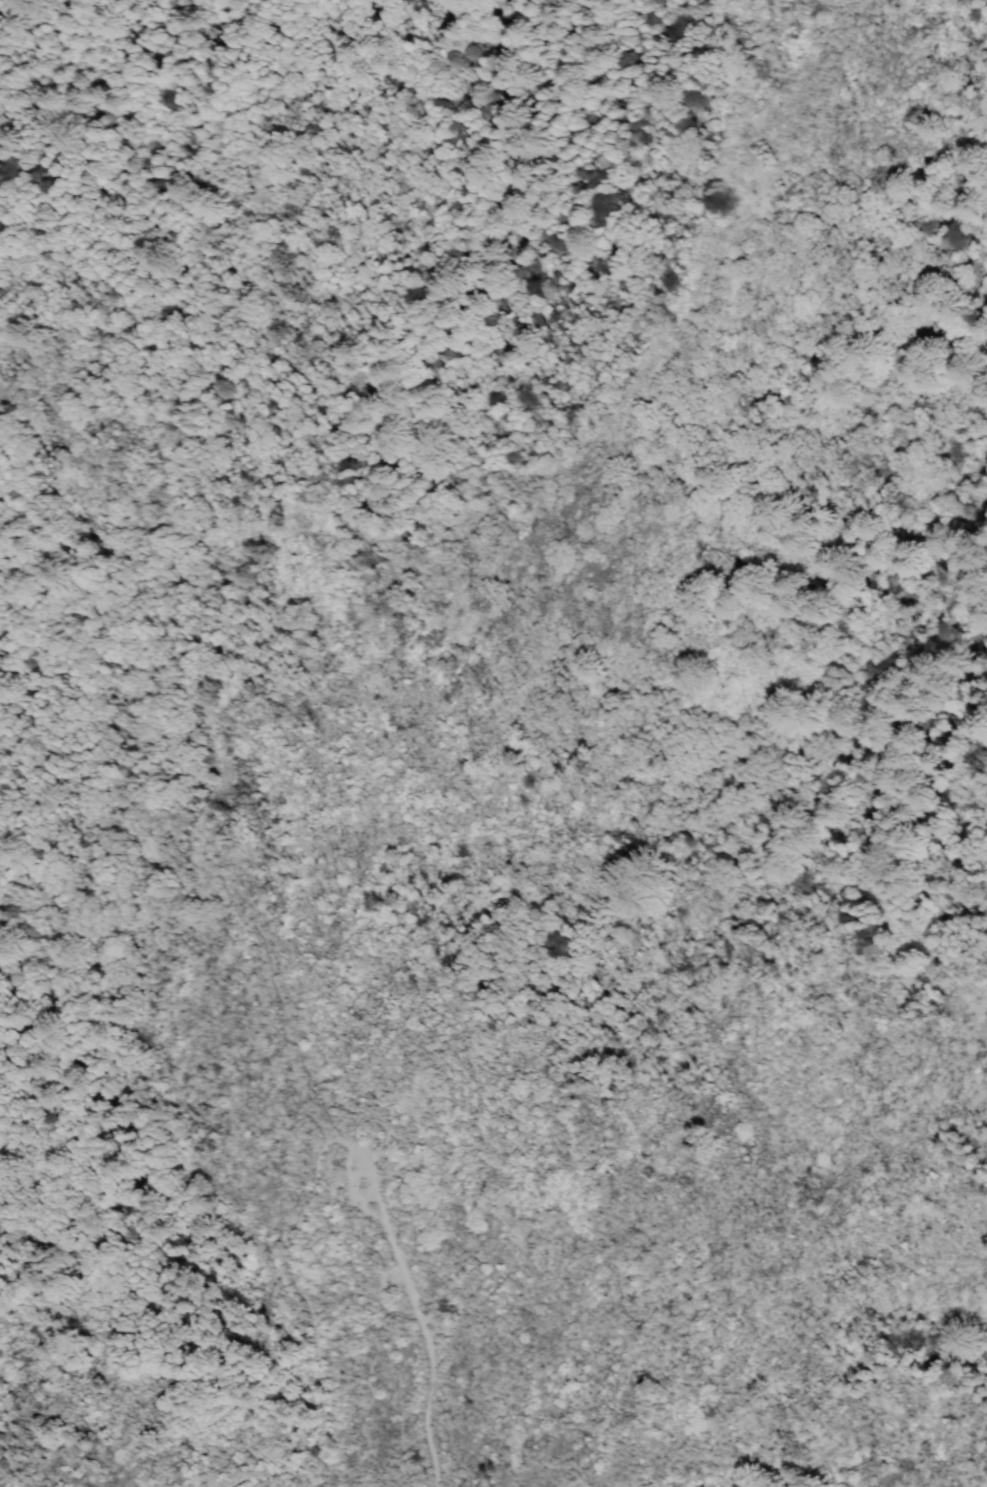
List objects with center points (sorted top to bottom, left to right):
road: (373, 1183)

